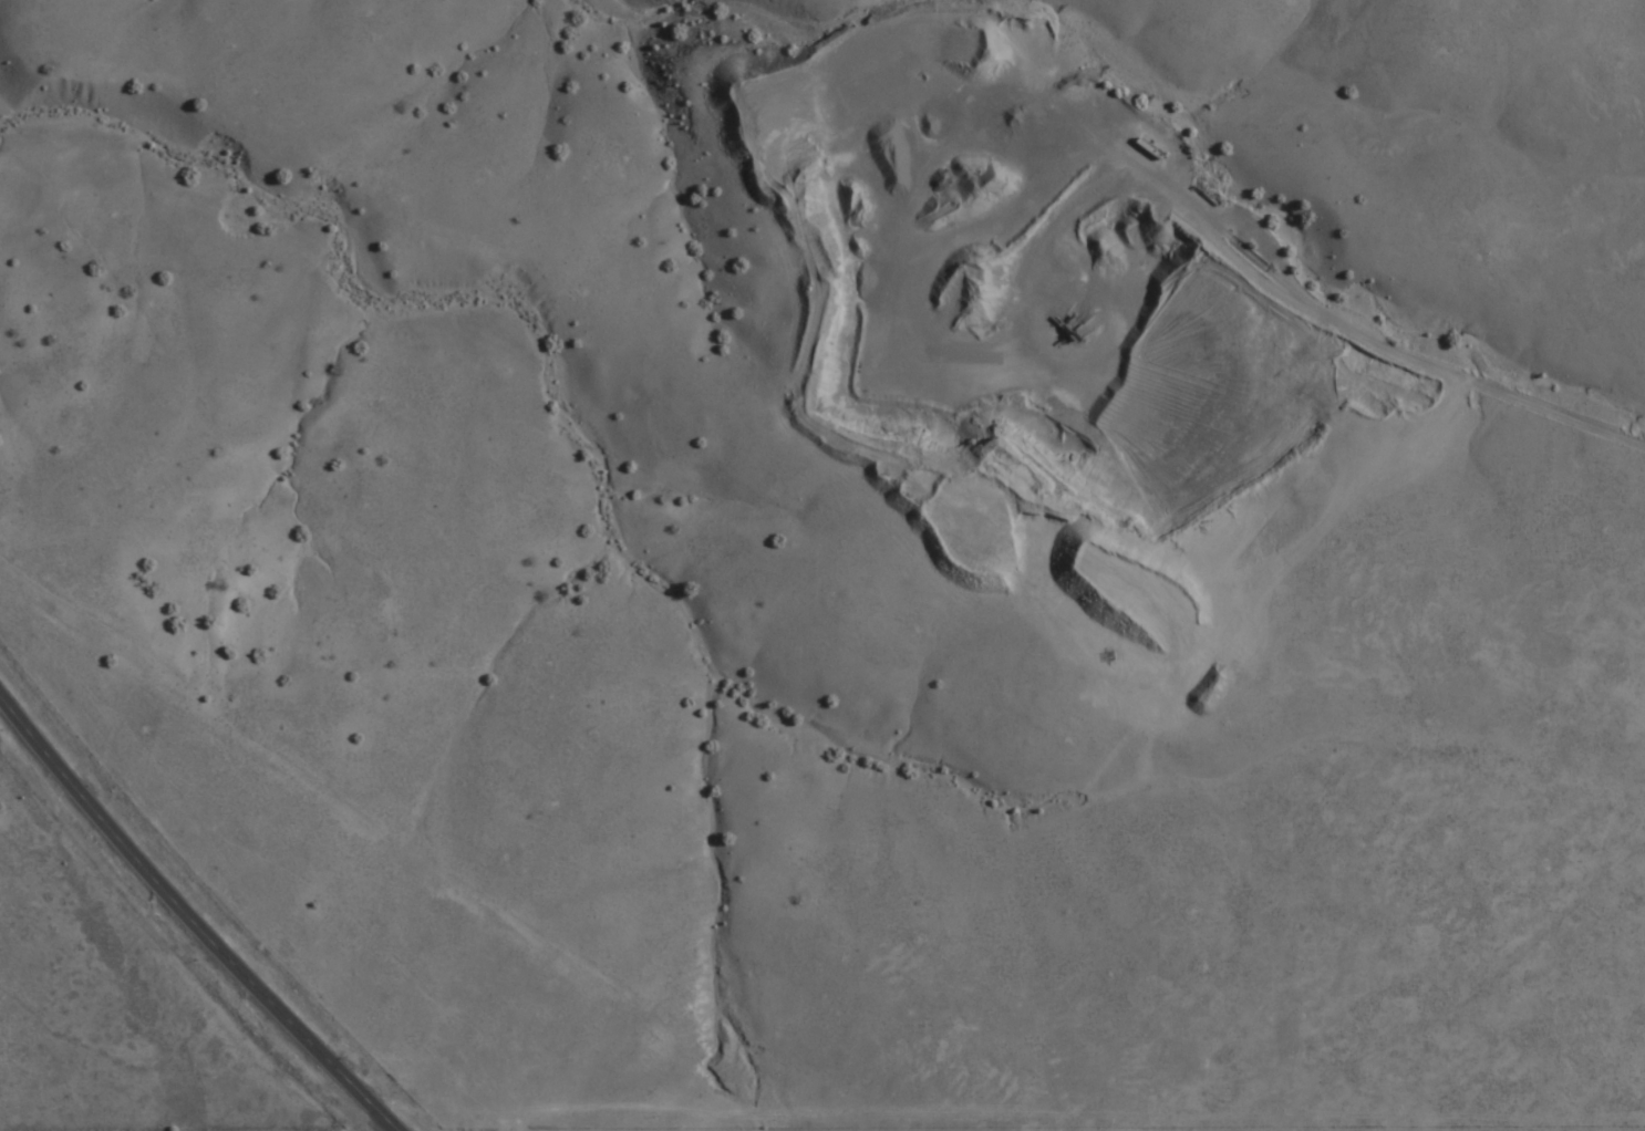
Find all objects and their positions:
road: (192, 921)

